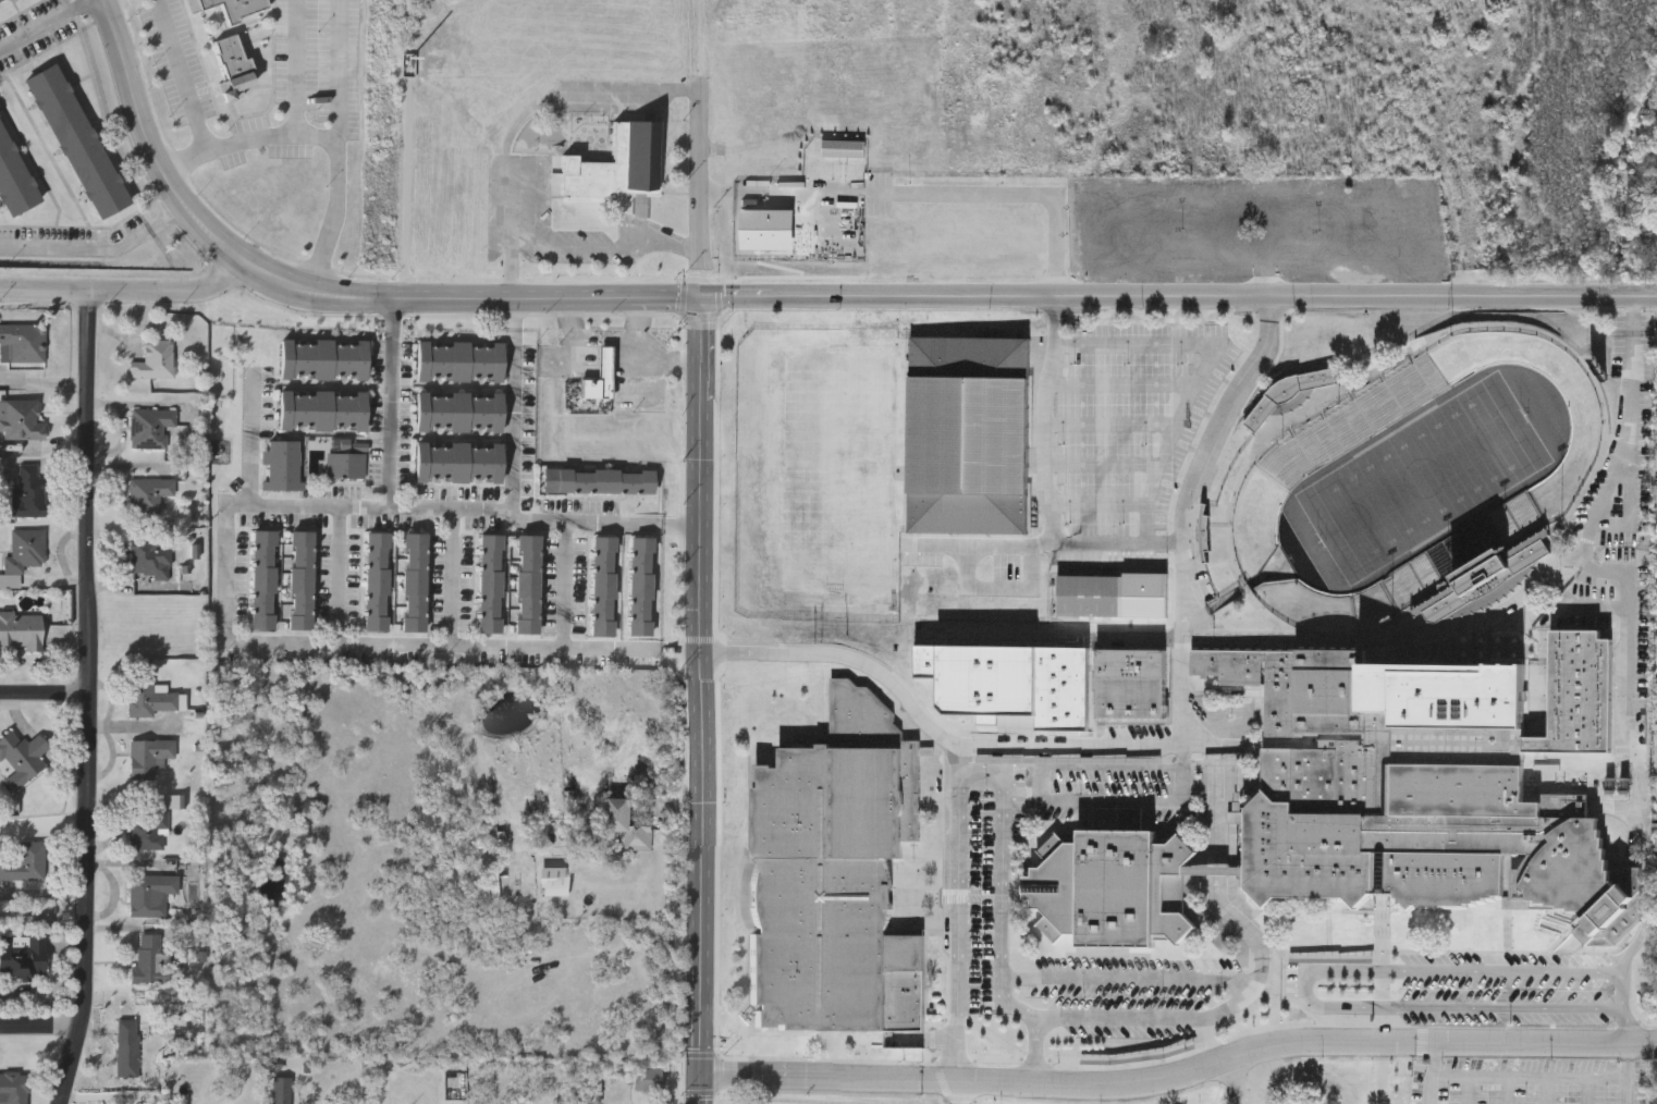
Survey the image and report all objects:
building: (2, 1)
building: (228, 8)
road: (48, 27)
road: (705, 51)
building: (233, 70)
road: (344, 71)
road: (186, 76)
road: (298, 137)
building: (75, 144)
road: (1444, 148)
building: (618, 167)
building: (13, 182)
road: (505, 183)
road: (341, 198)
road: (704, 199)
road: (99, 252)
road: (517, 271)
road: (126, 289)
road: (318, 292)
traffic signals: (704, 295)
road: (1180, 296)
road: (518, 314)
building: (23, 343)
building: (323, 359)
building: (154, 360)
building: (458, 361)
road: (1202, 369)
building: (599, 377)
road: (1119, 387)
road: (393, 404)
building: (321, 410)
building: (458, 412)
parking lot: (1132, 419)
building: (22, 420)
road: (516, 421)
building: (150, 427)
road: (1109, 429)
building: (971, 439)
road: (253, 441)
building: (345, 461)
building: (458, 463)
building: (281, 467)
road: (1101, 467)
park: (1421, 478)
road: (1045, 480)
building: (598, 481)
stadium: (1412, 482)
building: (29, 493)
building: (148, 494)
road: (1097, 501)
road: (1632, 510)
road: (634, 526)
building: (23, 555)
building: (150, 559)
road: (226, 573)
road: (340, 576)
road: (453, 579)
building: (262, 580)
building: (300, 581)
building: (376, 582)
building: (413, 582)
building: (1487, 582)
building: (489, 585)
building: (526, 585)
building: (602, 587)
building: (639, 587)
road: (564, 588)
building: (1092, 599)
road: (1519, 600)
building: (22, 630)
road: (634, 651)
road: (1628, 664)
building: (1132, 684)
road: (44, 687)
park: (1010, 690)
road: (86, 697)
building: (150, 699)
road: (704, 699)
road: (1157, 743)
building: (149, 757)
building: (22, 758)
road: (983, 775)
building: (1428, 781)
road: (1618, 808)
building: (629, 823)
building: (149, 831)
building: (26, 863)
building: (836, 878)
building: (555, 881)
building: (494, 884)
building: (1114, 891)
road: (1215, 893)
building: (151, 895)
road: (1645, 895)
road: (1312, 912)
road: (1534, 917)
road: (1542, 924)
road: (1262, 932)
road: (1328, 932)
road: (1446, 952)
building: (23, 955)
road: (1281, 959)
building: (154, 960)
road: (1128, 980)
road: (1308, 989)
parking lot: (1451, 990)
parking lot: (1140, 998)
road: (1620, 1010)
road: (1142, 1020)
road: (40, 1028)
road: (978, 1039)
road: (1374, 1043)
road: (1503, 1043)
building: (127, 1048)
road: (1435, 1072)
road: (1627, 1074)
road: (1182, 1075)
traffic signals: (704, 1076)
road: (1531, 1077)
building: (647, 1078)
road: (1248, 1078)
road: (931, 1079)
parking lot: (1529, 1082)
building: (594, 1087)
building: (13, 1088)
building: (282, 1090)
road: (958, 1093)

